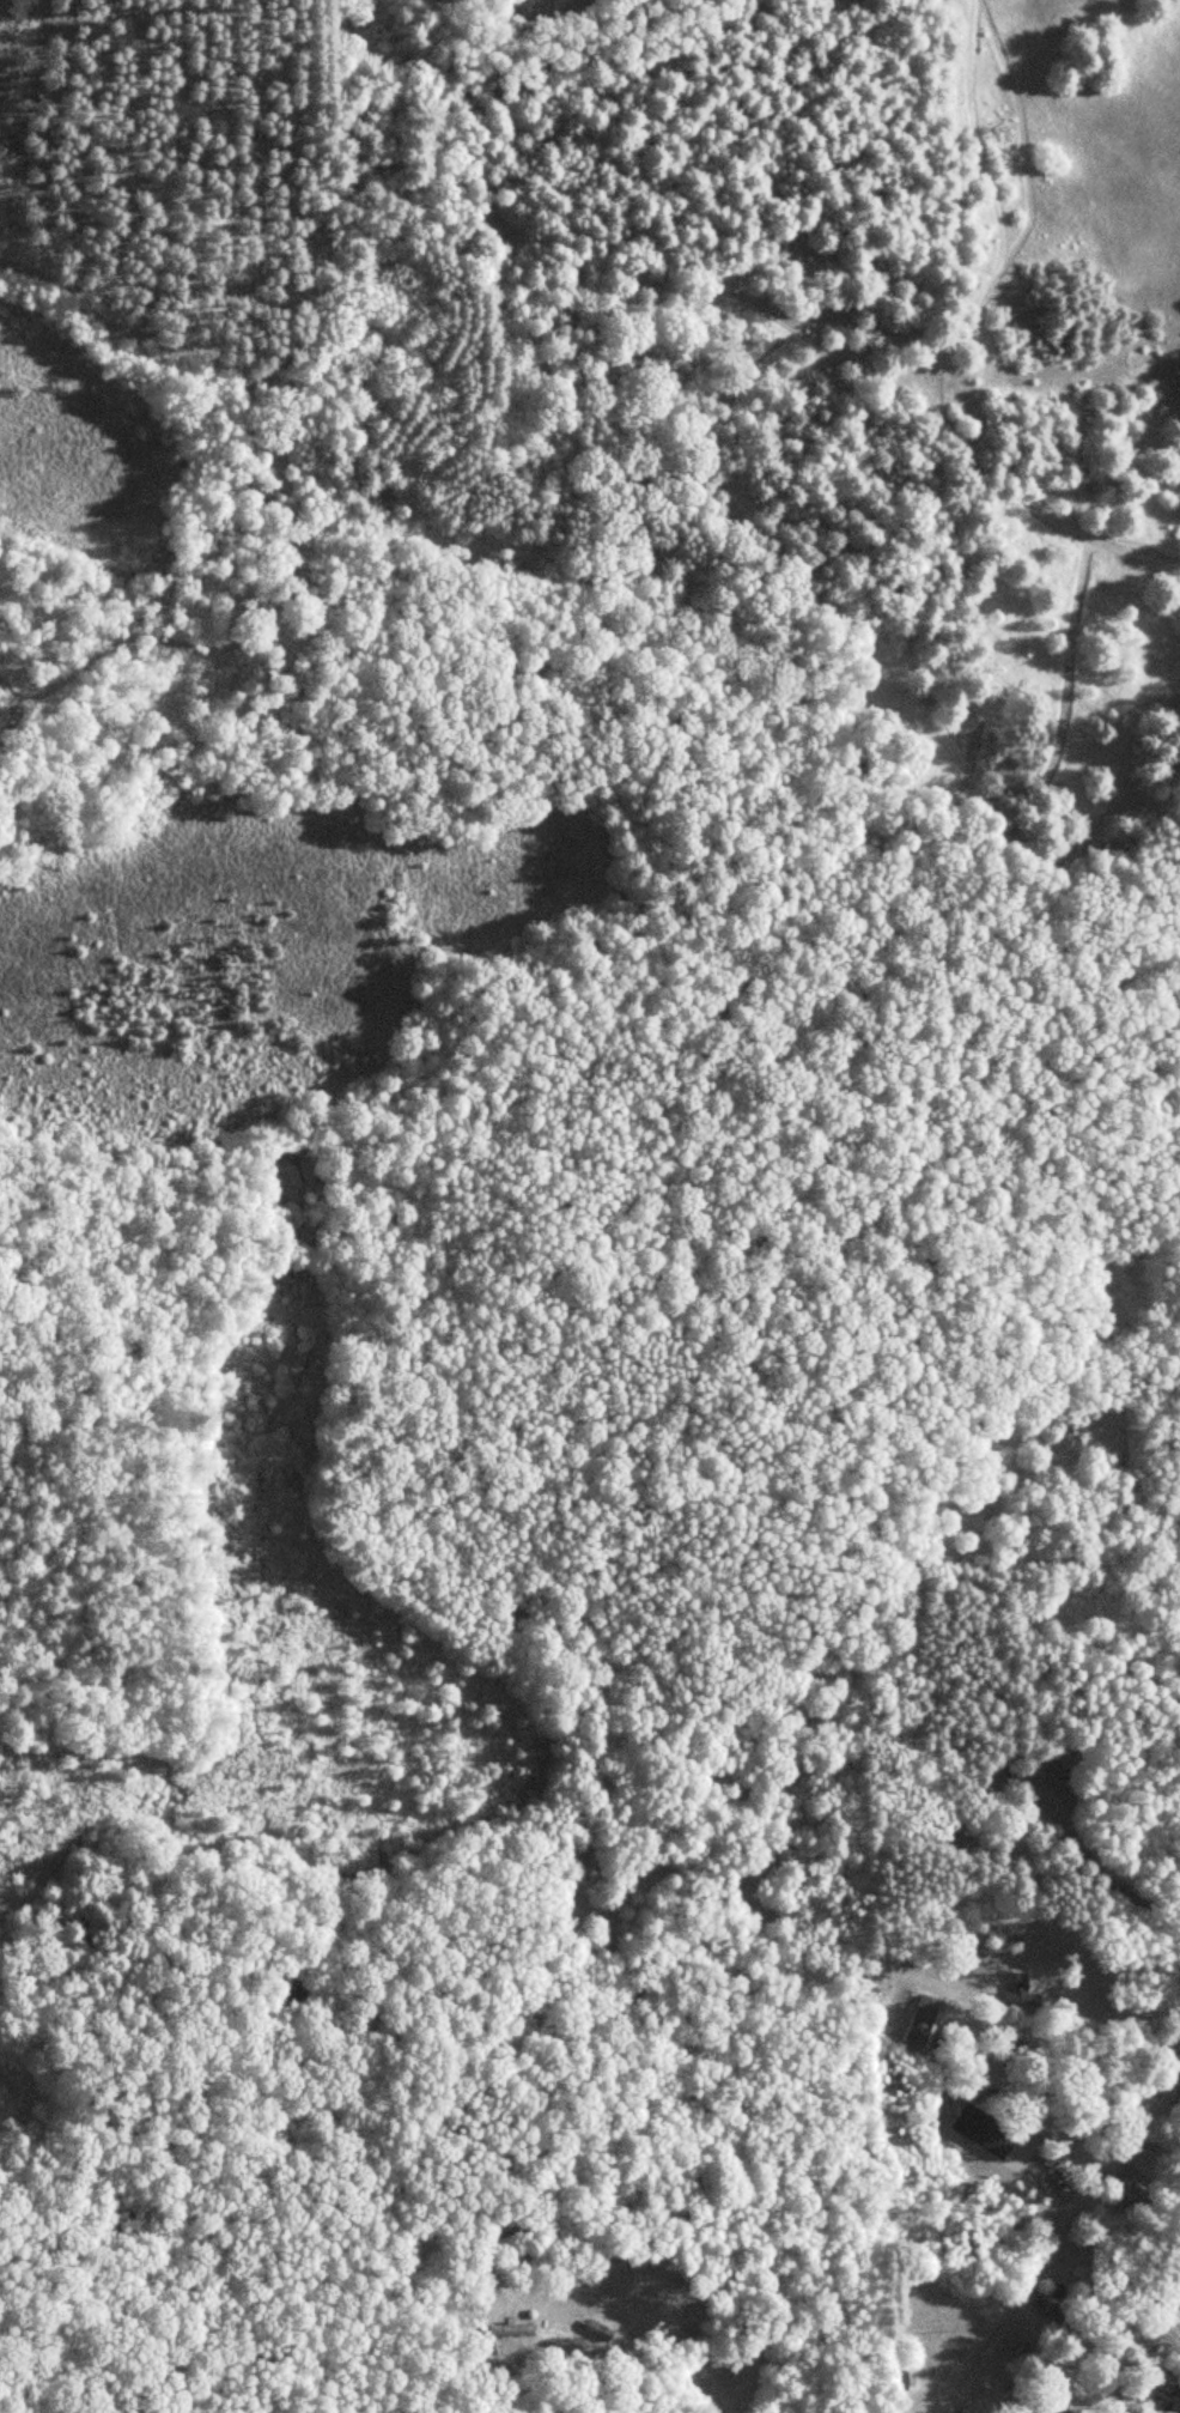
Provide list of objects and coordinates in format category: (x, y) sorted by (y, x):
building: (1063, 1777)
building: (1022, 1995)
building: (924, 2020)
building: (985, 2130)
road: (1058, 2239)
road: (1117, 2287)
building: (1168, 2296)
building: (1068, 2315)
road: (1095, 2346)
building: (895, 2378)
building: (1022, 2391)
building: (1063, 2408)

